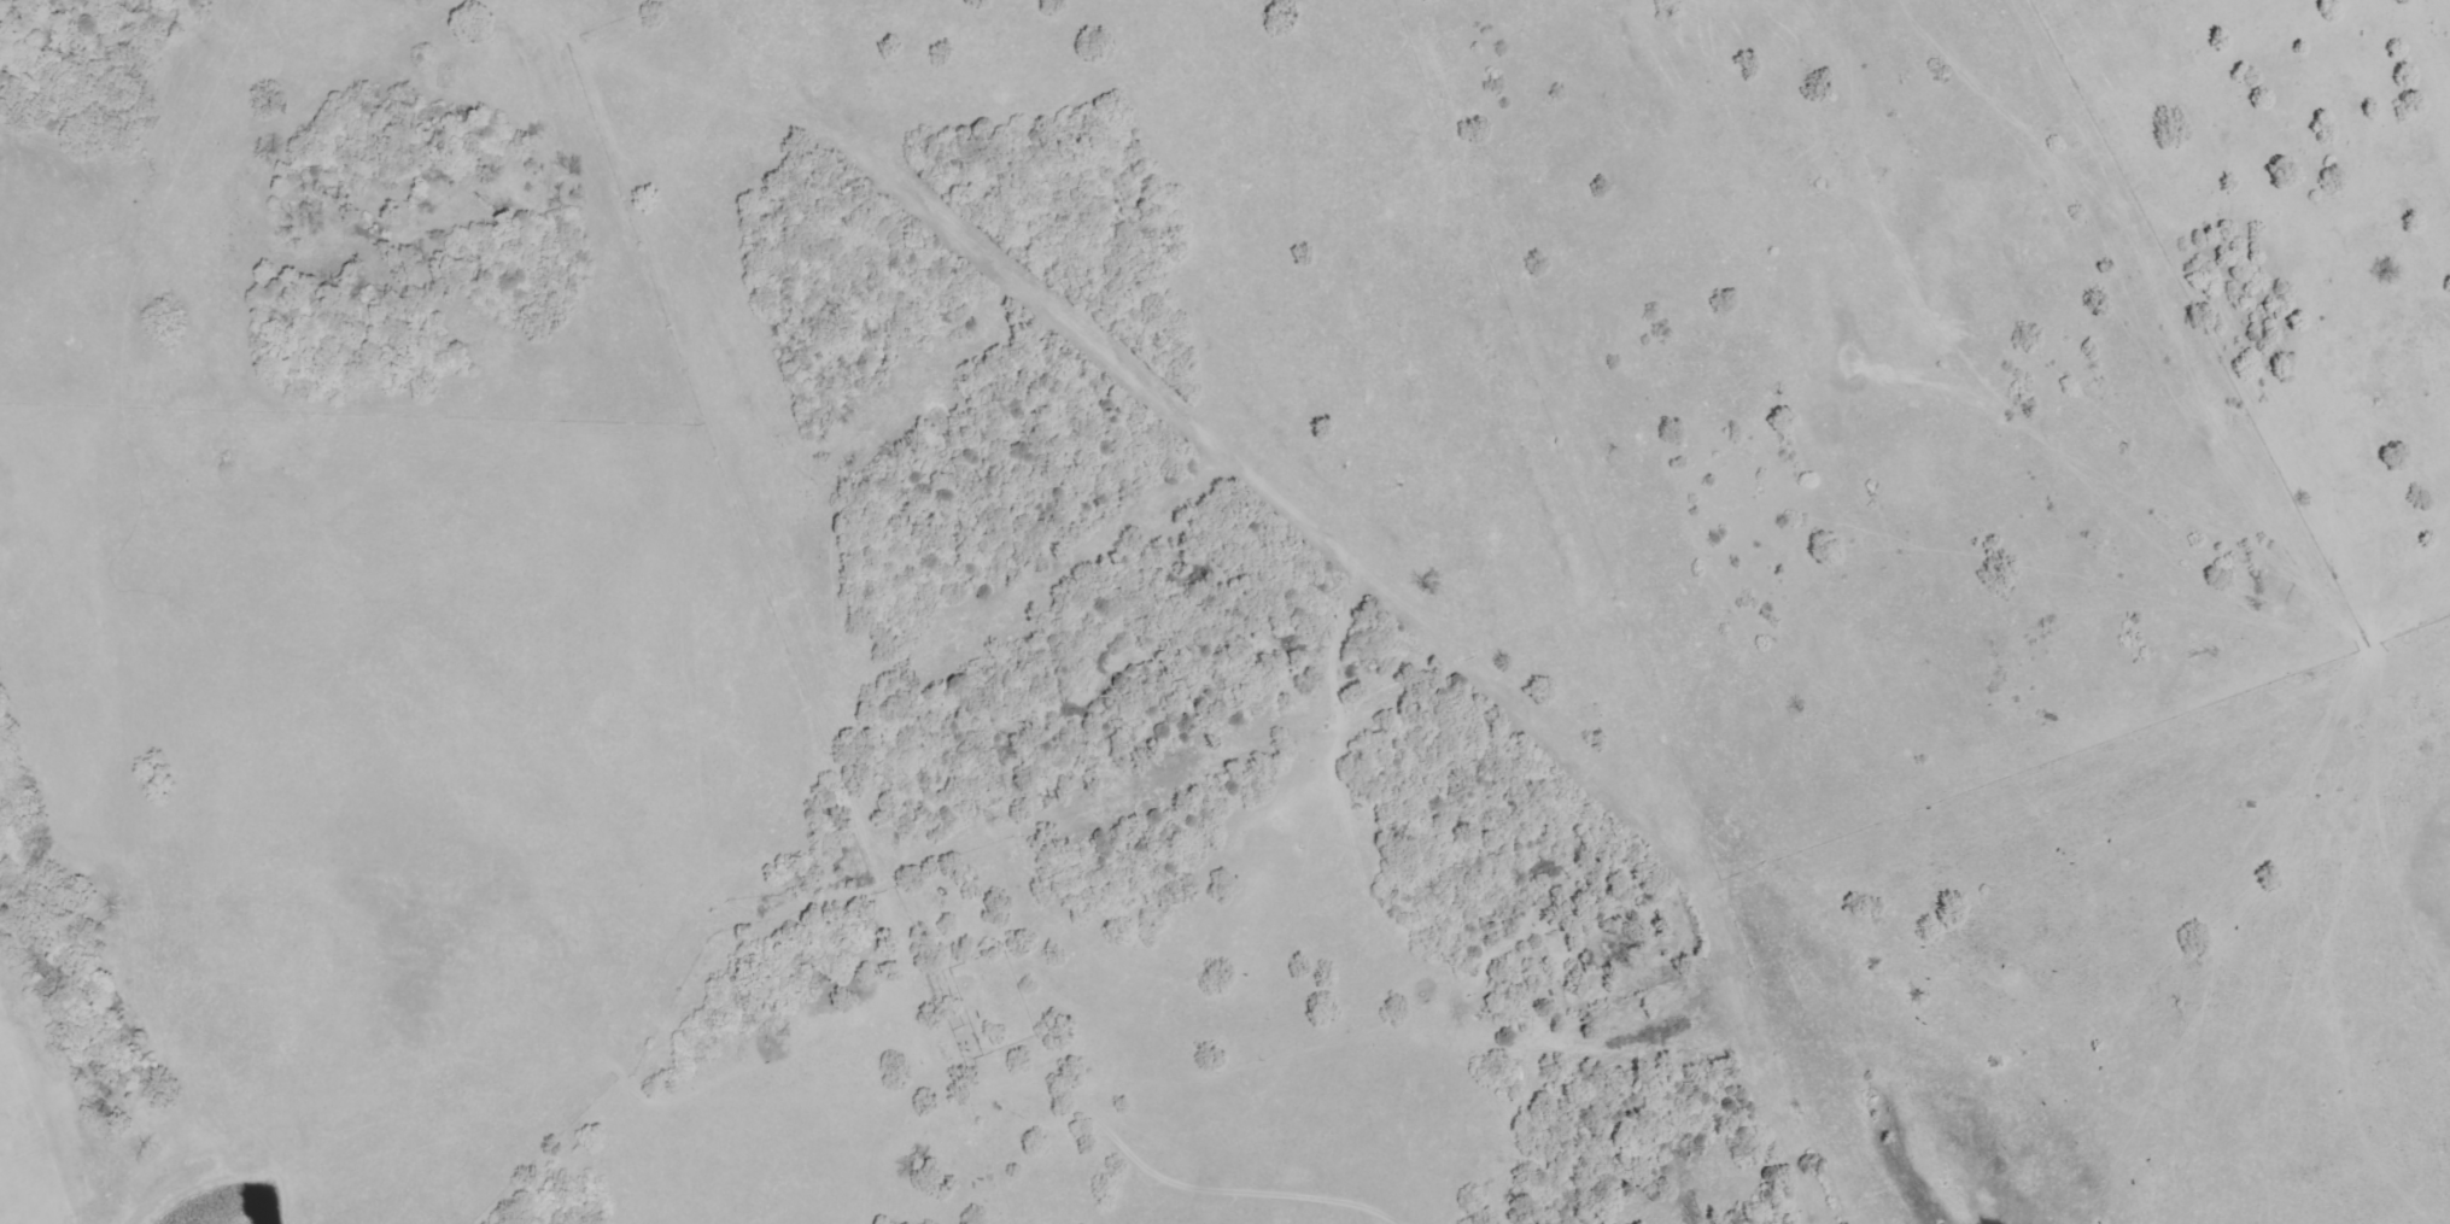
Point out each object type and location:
road: (1612, 678)

